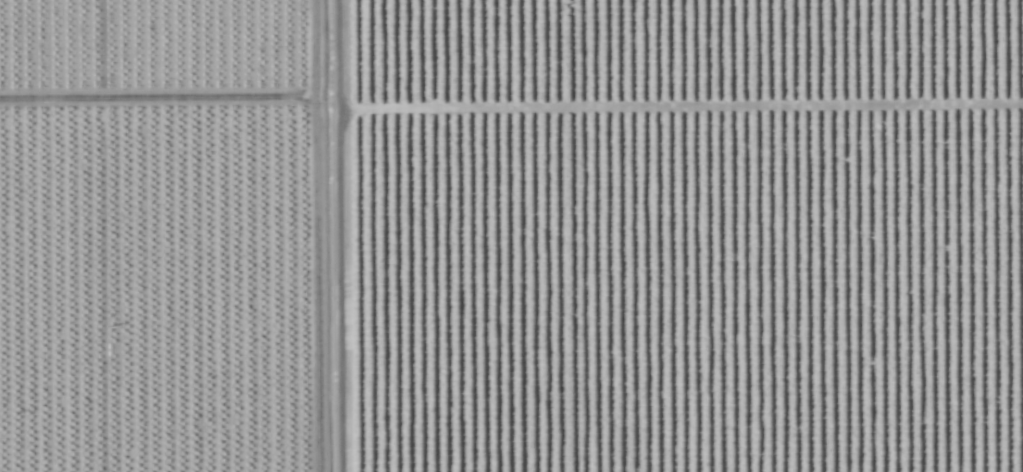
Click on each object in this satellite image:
road: (320, 236)

